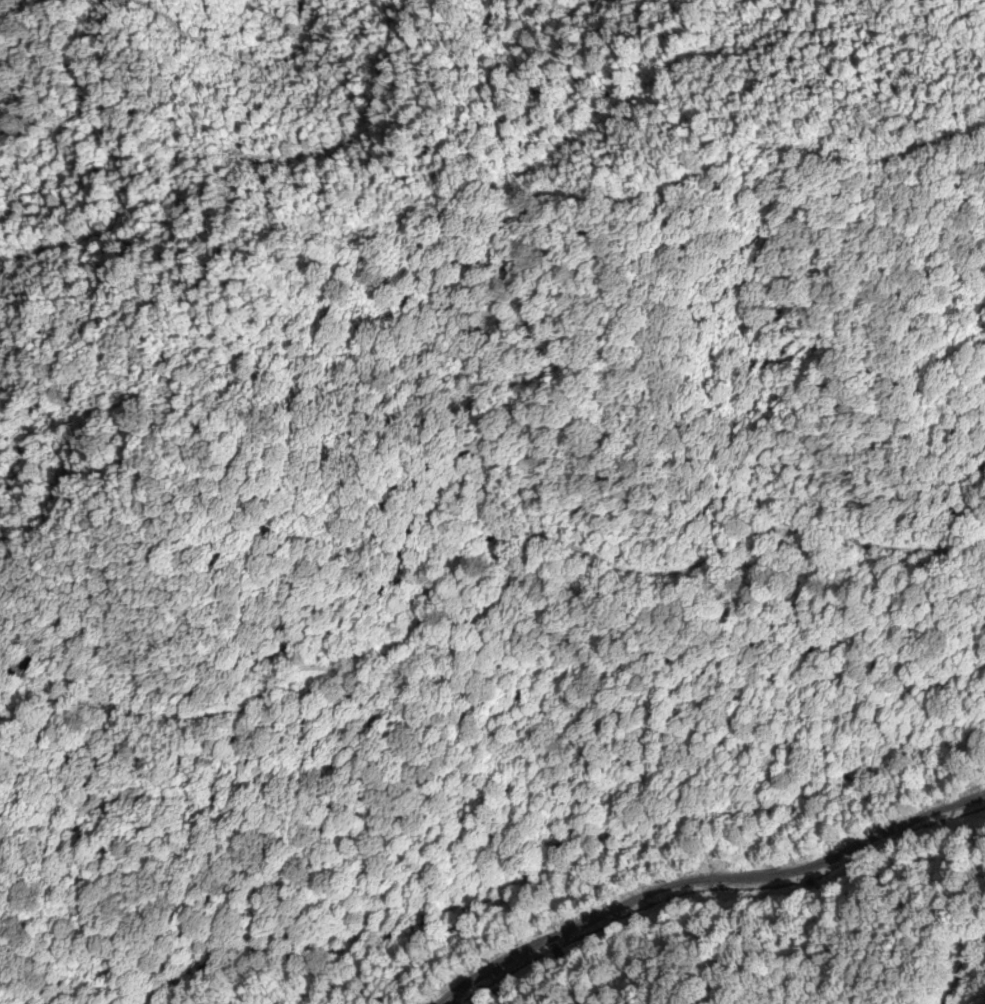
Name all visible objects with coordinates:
road: (702, 882)

